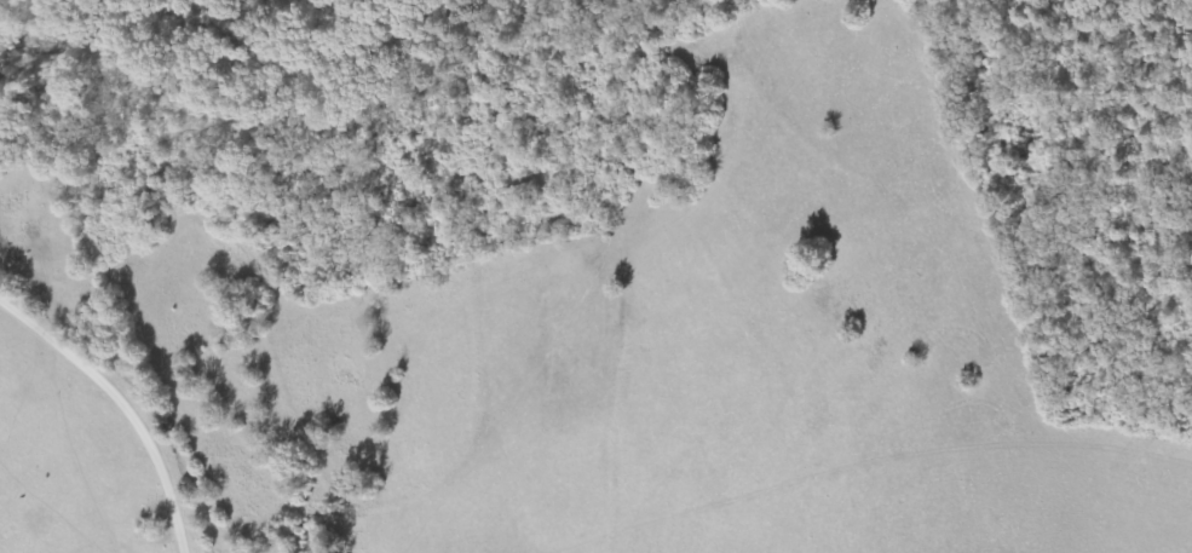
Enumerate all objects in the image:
road: (122, 404)

